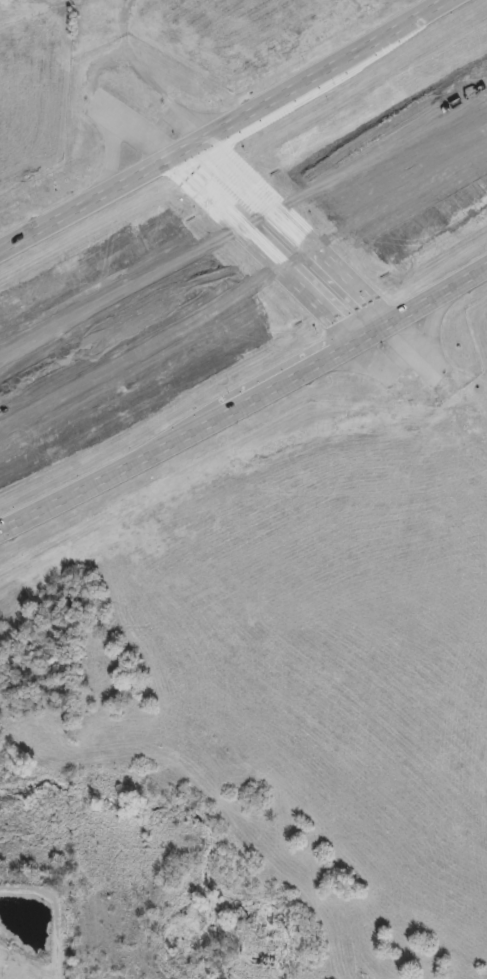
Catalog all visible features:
road: (225, 127)
road: (294, 233)
road: (264, 249)
road: (244, 401)

